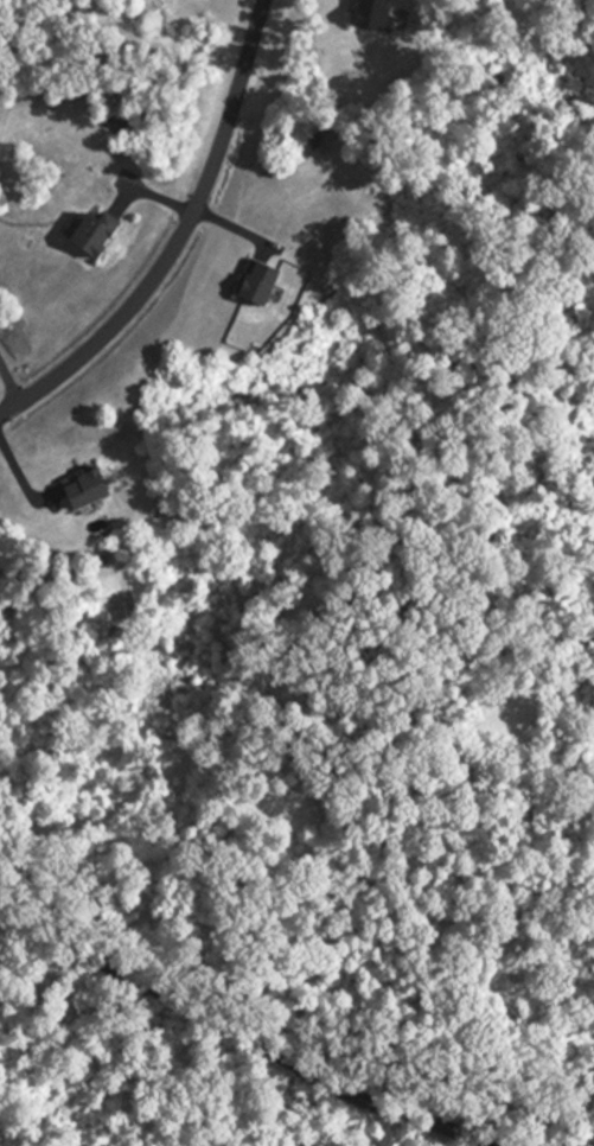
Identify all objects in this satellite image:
building: (372, 15)
building: (91, 235)
road: (178, 237)
building: (256, 282)
road: (8, 382)
building: (84, 490)
building: (502, 714)
road: (235, 1034)

